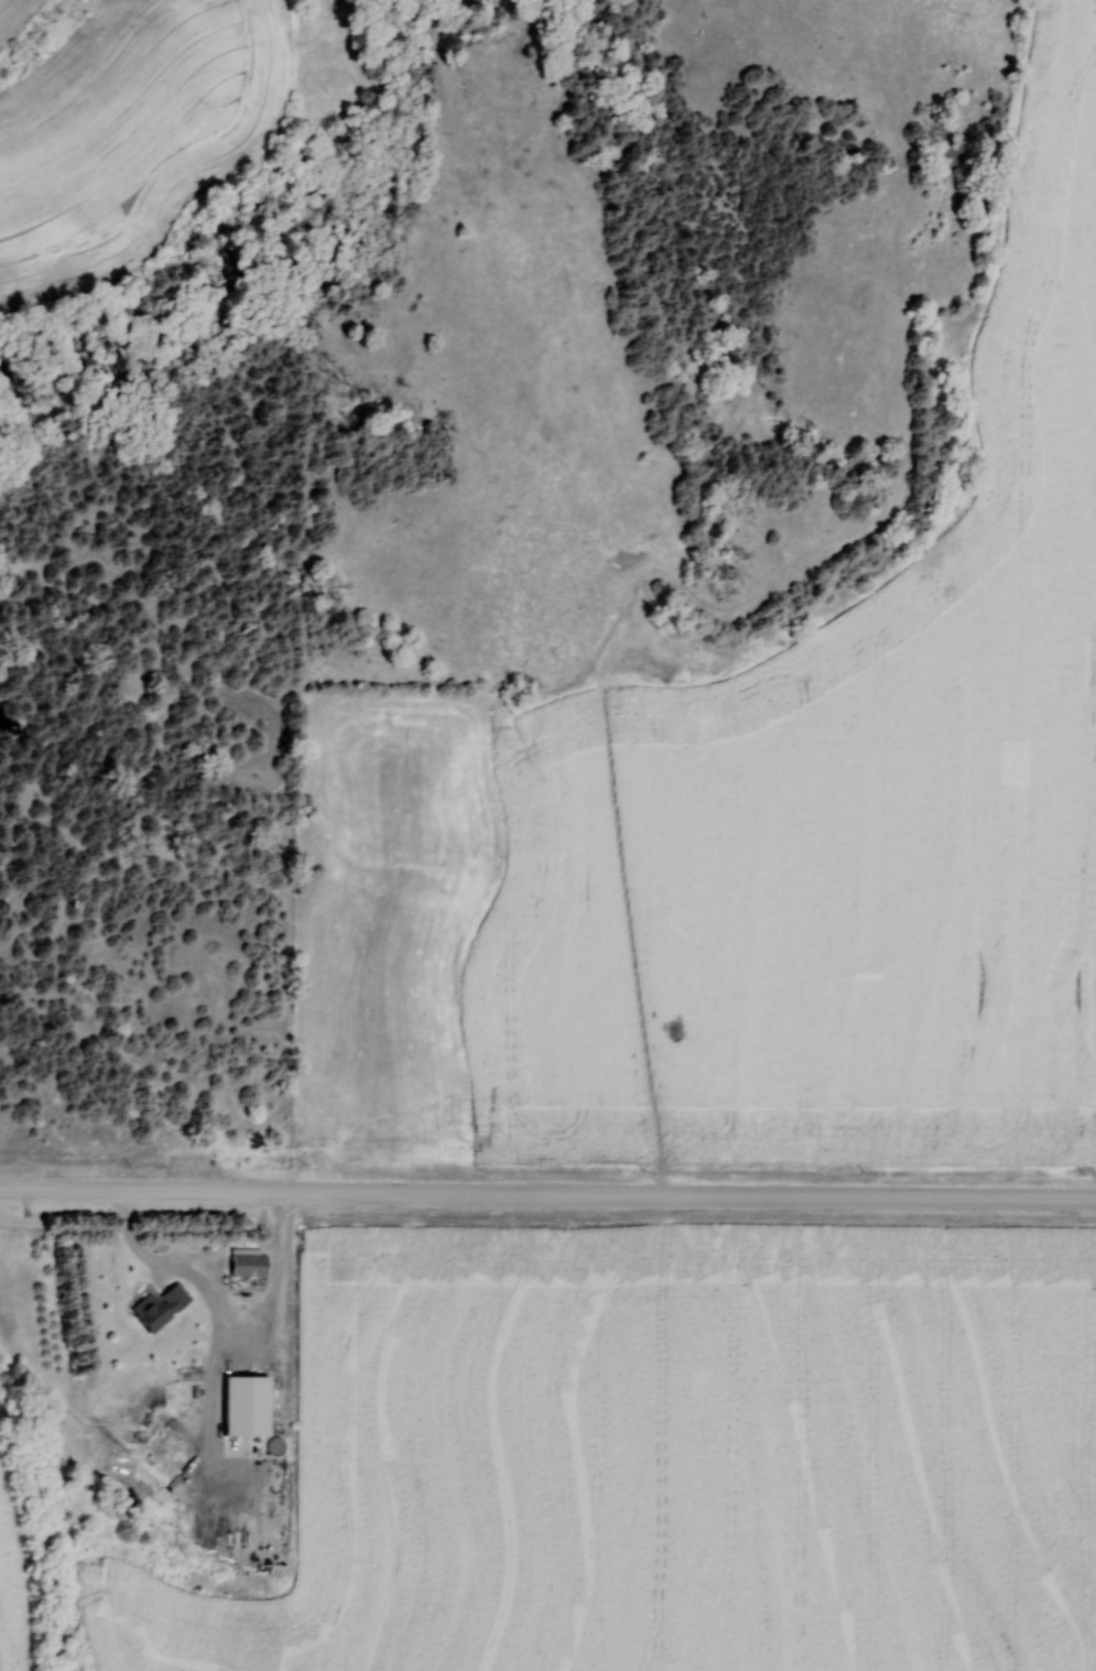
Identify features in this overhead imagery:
road: (547, 1198)
building: (248, 1268)
building: (160, 1304)
building: (245, 1402)

